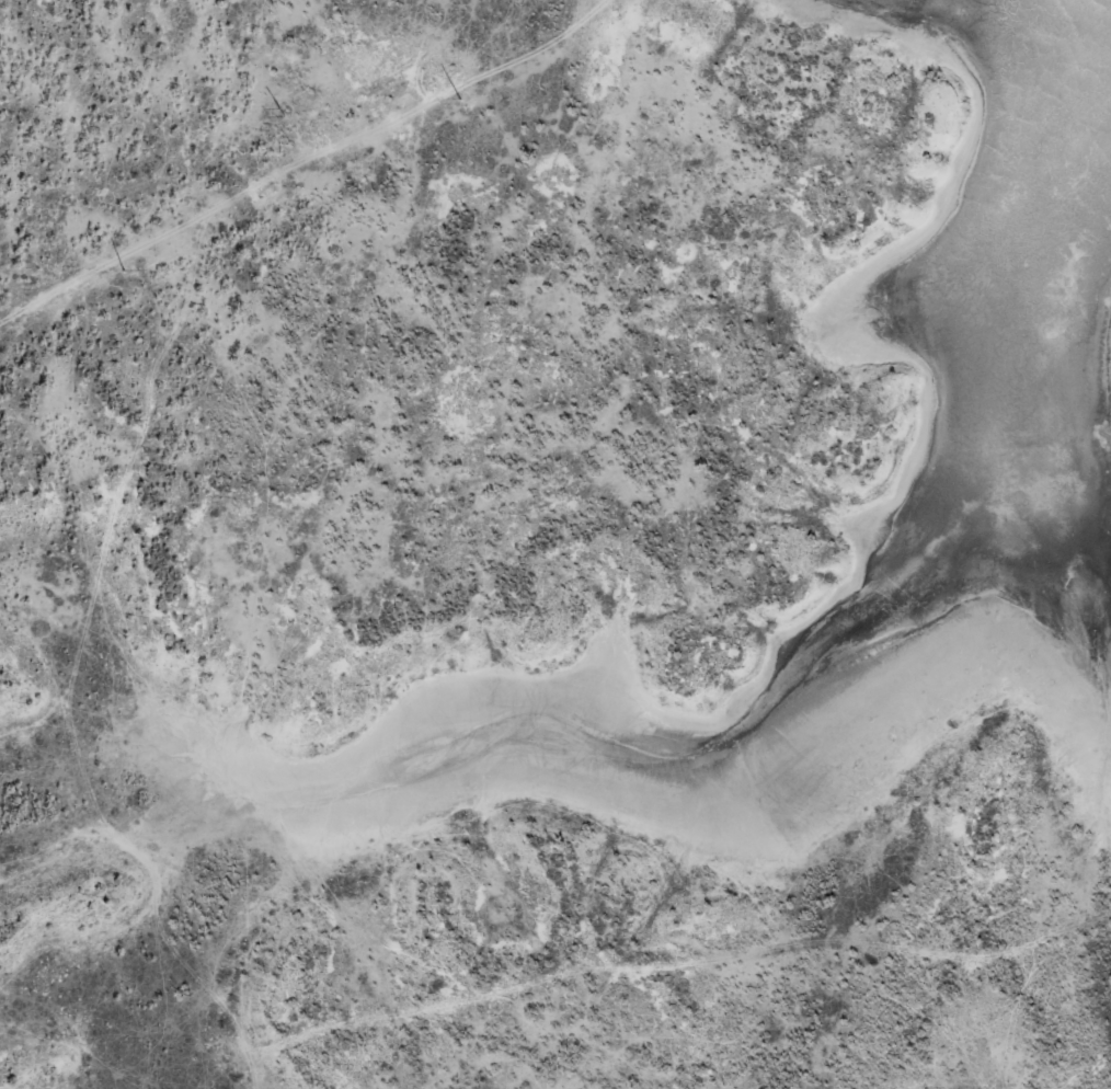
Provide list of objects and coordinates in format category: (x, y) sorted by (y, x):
power tower: (460, 96)
power tower: (284, 108)
power tower: (125, 267)

